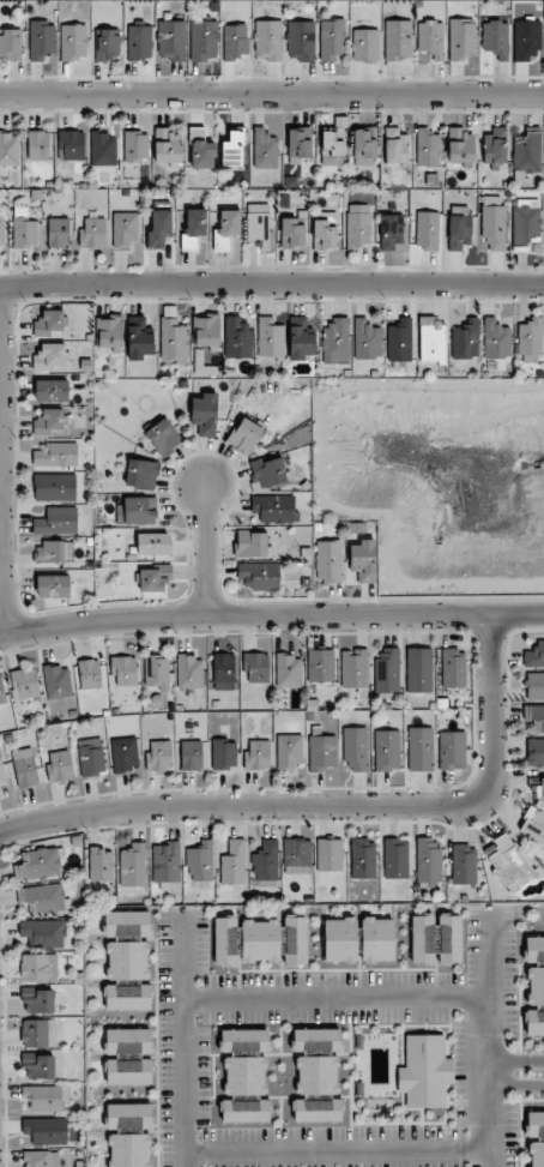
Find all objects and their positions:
building: (430, 38)
building: (461, 38)
building: (495, 38)
building: (41, 40)
building: (171, 40)
building: (204, 40)
building: (267, 40)
building: (332, 40)
building: (398, 40)
building: (526, 40)
building: (235, 41)
building: (300, 41)
building: (73, 42)
building: (139, 42)
building: (11, 44)
building: (108, 44)
building: (364, 44)
road: (272, 95)
building: (298, 144)
building: (38, 145)
building: (71, 145)
building: (135, 146)
building: (167, 146)
building: (364, 146)
building: (395, 146)
building: (428, 146)
building: (460, 146)
building: (332, 148)
building: (494, 148)
building: (8, 149)
building: (200, 149)
building: (103, 150)
building: (232, 150)
building: (265, 150)
building: (527, 154)
building: (492, 221)
building: (526, 222)
building: (258, 223)
building: (358, 225)
building: (193, 227)
building: (125, 228)
building: (24, 229)
building: (158, 229)
building: (226, 229)
building: (325, 230)
building: (391, 230)
building: (427, 230)
building: (459, 230)
building: (292, 231)
building: (59, 233)
building: (92, 233)
building: (2, 234)
road: (271, 283)
building: (48, 323)
building: (109, 331)
building: (207, 331)
building: (139, 337)
building: (530, 337)
building: (237, 338)
building: (270, 338)
building: (300, 338)
building: (173, 339)
building: (367, 339)
building: (431, 339)
building: (465, 339)
building: (496, 339)
building: (336, 341)
building: (399, 341)
building: (52, 356)
building: (52, 391)
building: (204, 414)
building: (49, 421)
building: (244, 435)
building: (163, 437)
building: (56, 456)
road: (1, 462)
building: (268, 471)
building: (141, 474)
building: (54, 487)
building: (273, 507)
building: (137, 511)
building: (56, 521)
building: (153, 543)
building: (250, 543)
road: (206, 551)
building: (53, 552)
building: (328, 560)
building: (363, 560)
building: (259, 576)
building: (155, 578)
building: (53, 586)
road: (271, 616)
building: (534, 656)
building: (320, 666)
building: (256, 667)
building: (353, 668)
building: (453, 668)
building: (123, 669)
building: (419, 669)
building: (288, 670)
building: (156, 672)
building: (189, 672)
building: (223, 672)
building: (387, 672)
building: (89, 674)
building: (56, 681)
building: (24, 684)
building: (534, 686)
building: (2, 692)
building: (534, 715)
building: (419, 748)
building: (289, 750)
building: (355, 750)
building: (387, 750)
building: (452, 750)
building: (322, 752)
building: (534, 752)
building: (223, 754)
building: (123, 756)
building: (159, 756)
building: (191, 756)
building: (258, 756)
building: (91, 757)
building: (26, 766)
building: (60, 766)
building: (2, 777)
building: (543, 787)
road: (333, 807)
building: (533, 825)
building: (328, 854)
building: (296, 856)
building: (395, 858)
building: (362, 859)
building: (199, 860)
building: (265, 861)
building: (428, 861)
building: (165, 862)
building: (234, 862)
building: (38, 864)
building: (463, 864)
building: (509, 864)
building: (101, 865)
building: (132, 865)
building: (43, 898)
building: (44, 933)
building: (339, 939)
building: (376, 939)
building: (422, 939)
building: (449, 939)
building: (225, 940)
building: (260, 940)
building: (295, 940)
building: (127, 960)
building: (38, 967)
building: (534, 969)
building: (127, 998)
road: (338, 998)
building: (37, 1000)
building: (534, 1022)
building: (38, 1033)
road: (185, 1037)
road: (491, 1037)
building: (316, 1040)
building: (244, 1041)
building: (128, 1043)
road: (518, 1060)
building: (38, 1066)
building: (424, 1071)
building: (128, 1072)
building: (244, 1075)
building: (316, 1075)
road: (518, 1085)
building: (43, 1097)
building: (244, 1111)
building: (316, 1111)
building: (46, 1130)
building: (534, 1137)
building: (129, 1150)
road: (339, 1153)
building: (36, 1159)

